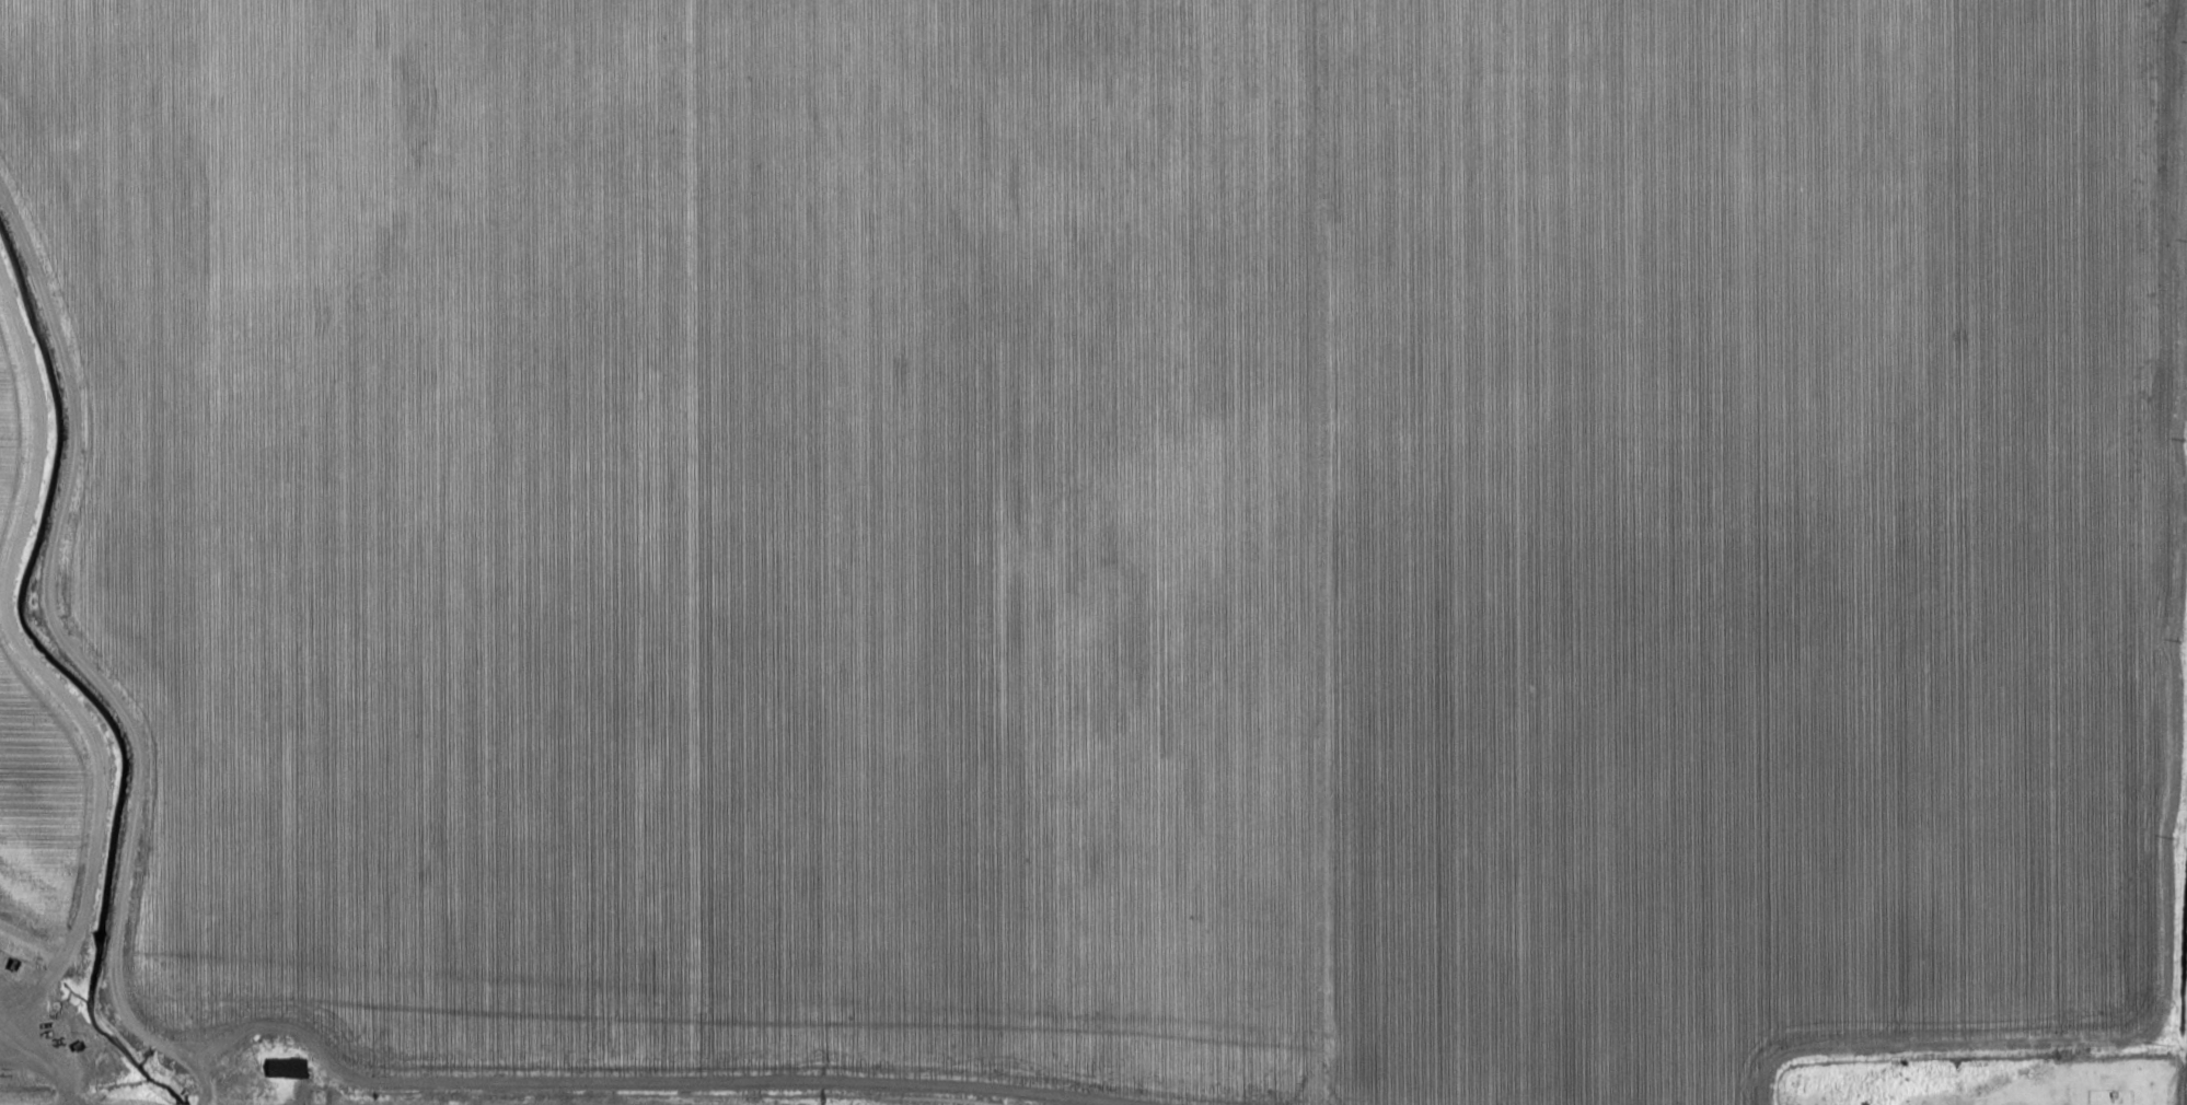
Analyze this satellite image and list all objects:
road: (44, 1057)
building: (289, 1069)

